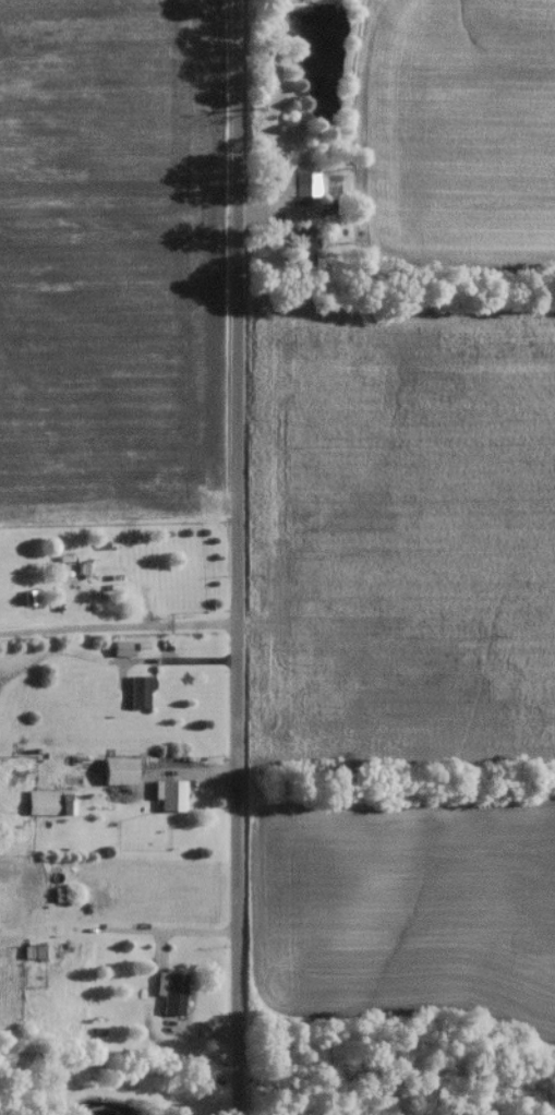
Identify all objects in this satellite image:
building: (275, 187)
building: (299, 251)
road: (238, 557)
building: (104, 574)
road: (118, 630)
building: (116, 654)
building: (136, 697)
building: (168, 801)
road: (144, 927)
building: (36, 957)
building: (169, 999)

